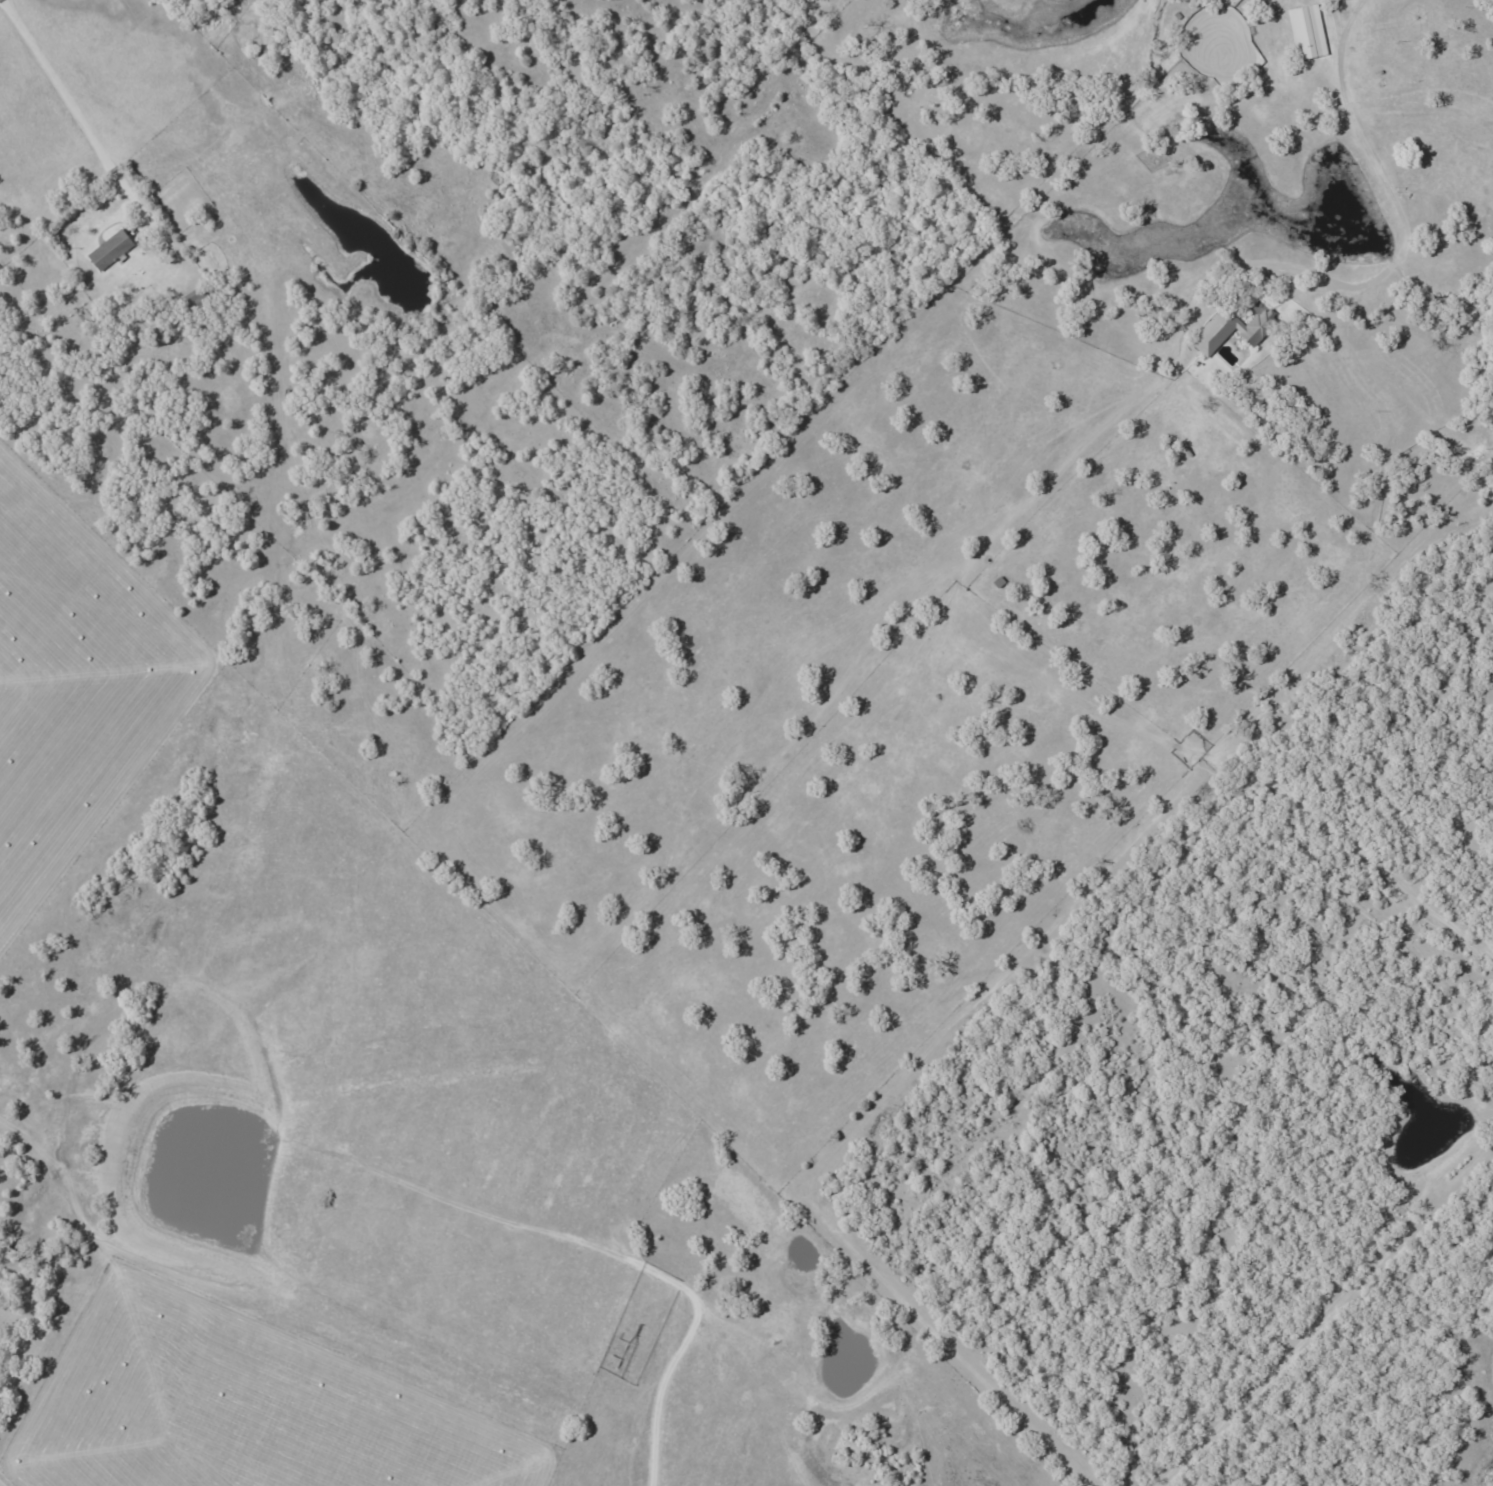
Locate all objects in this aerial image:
building: (1308, 33)
building: (110, 251)
building: (1233, 330)

